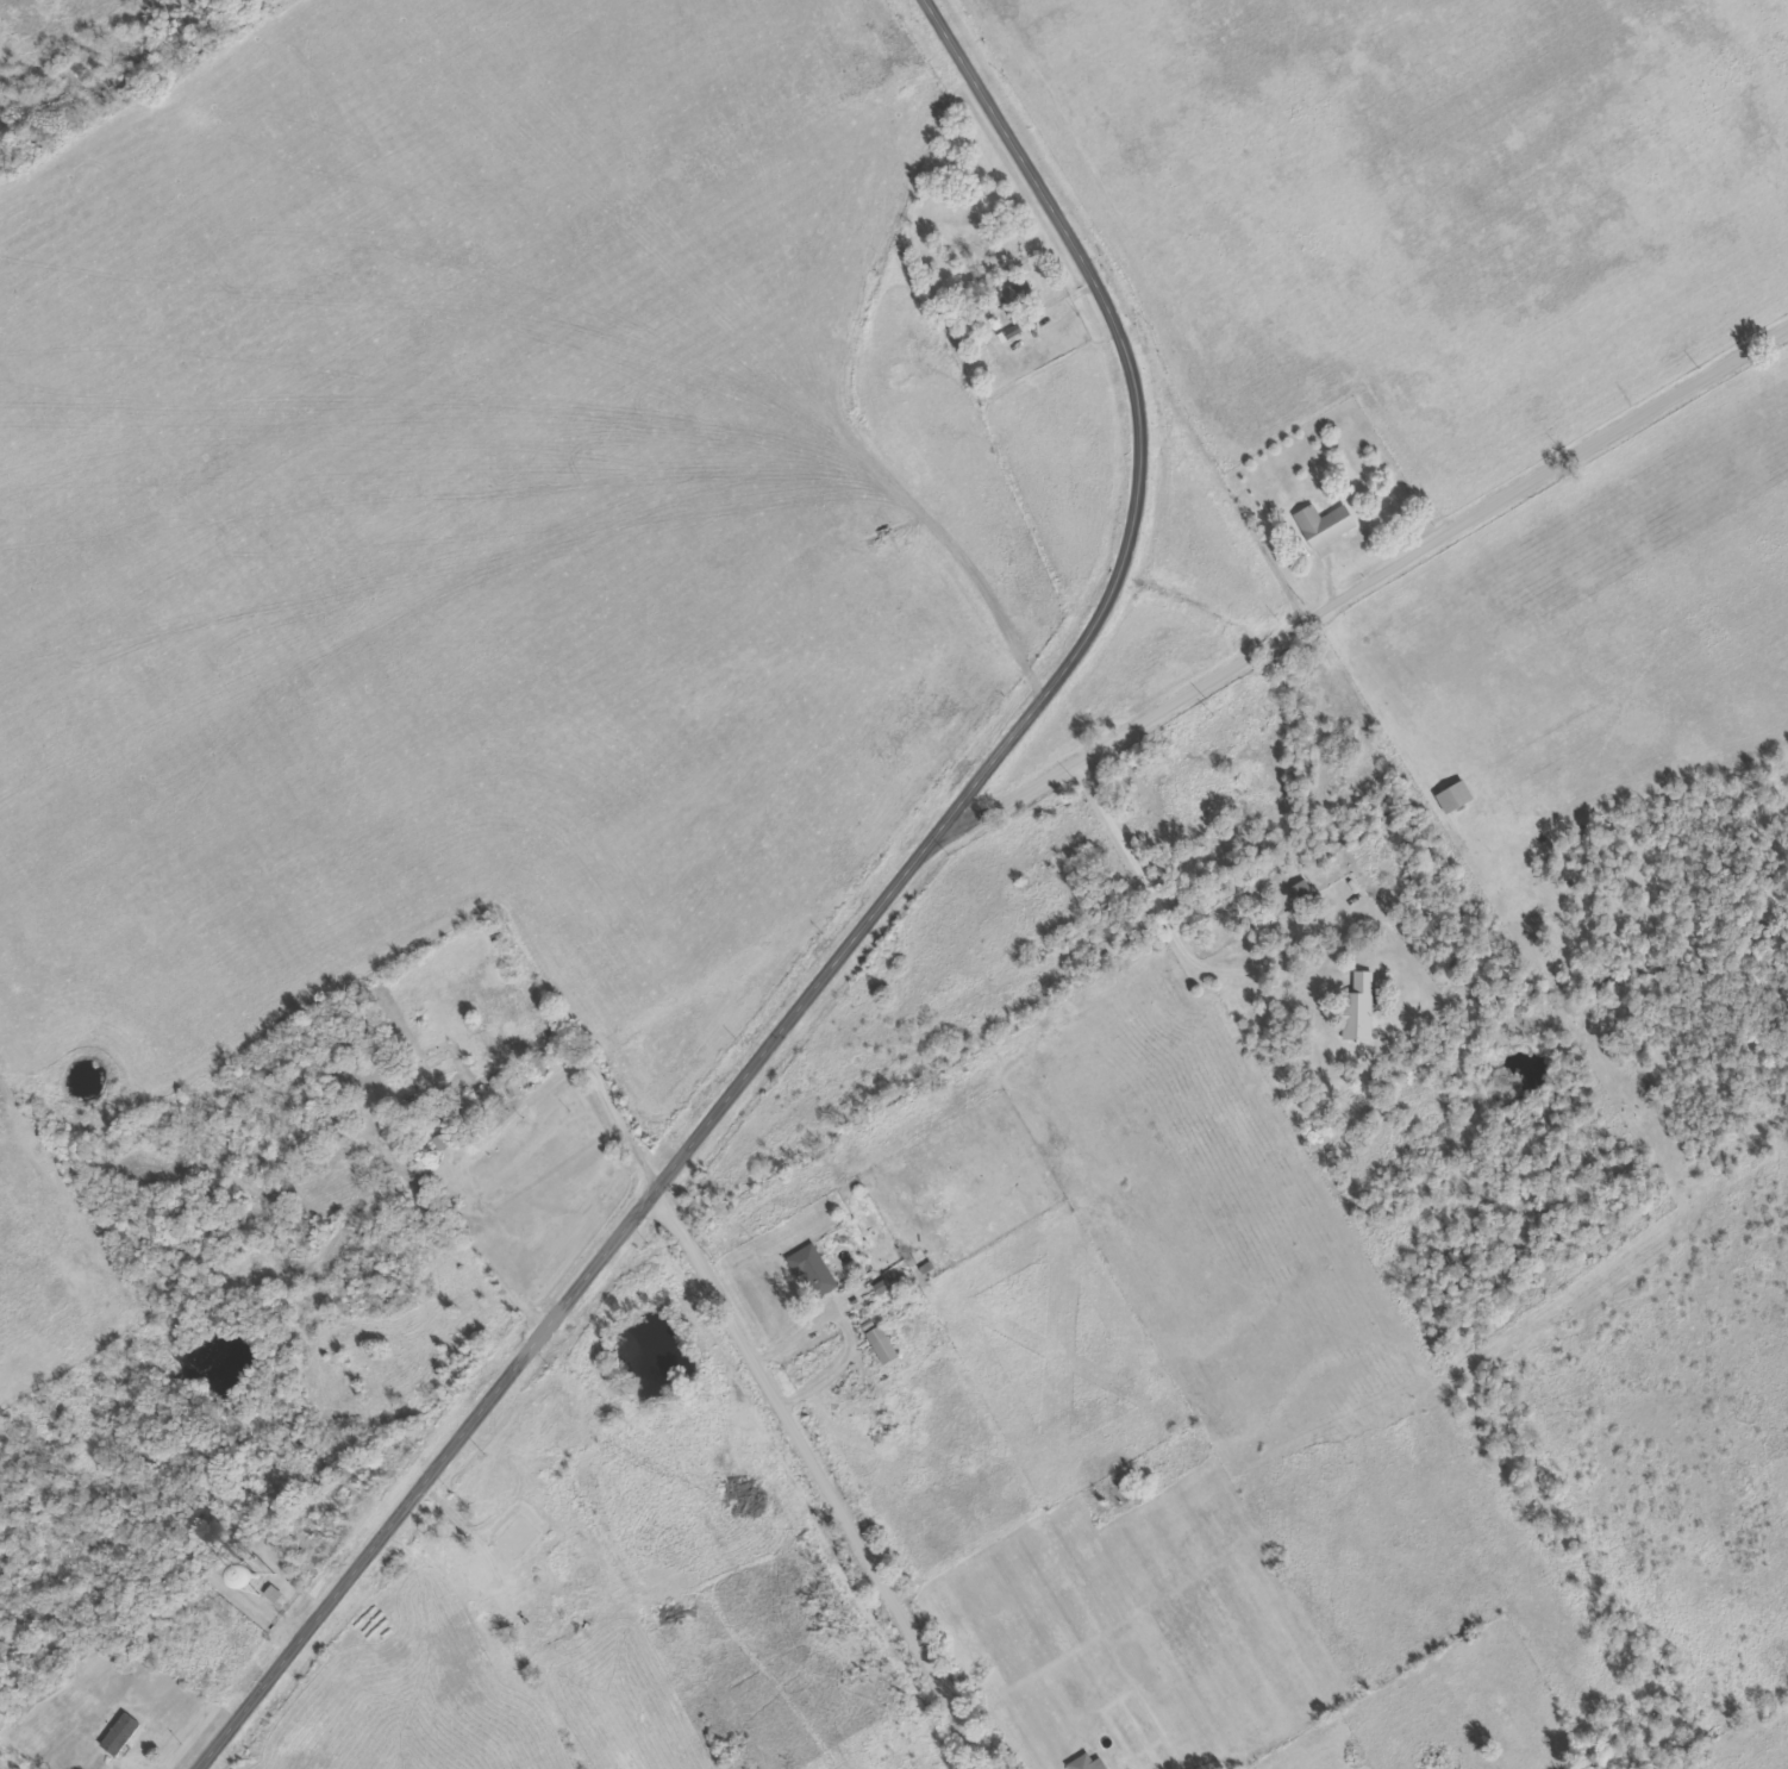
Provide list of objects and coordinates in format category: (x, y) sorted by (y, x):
building: (1018, 294)
road: (1559, 463)
building: (1324, 525)
road: (1332, 575)
road: (1134, 714)
building: (1452, 798)
building: (1300, 893)
road: (1163, 913)
road: (851, 927)
building: (1359, 1008)
building: (473, 1115)
building: (814, 1270)
building: (881, 1344)
road: (757, 1363)
water tower: (261, 1576)
building: (274, 1595)
building: (121, 1736)
building: (1087, 1763)

